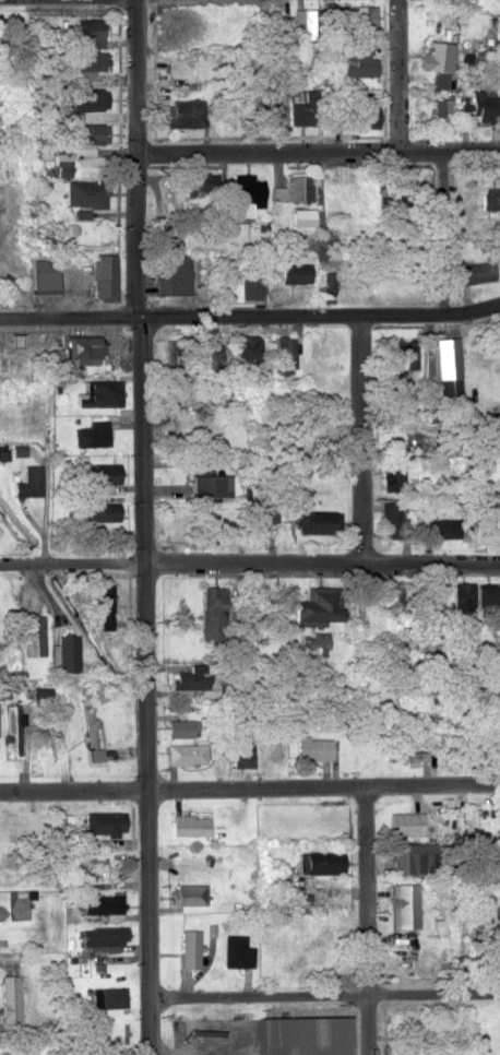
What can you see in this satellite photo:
building: (360, 15)
building: (316, 19)
building: (83, 32)
building: (486, 58)
building: (82, 59)
building: (356, 61)
building: (437, 61)
road: (400, 74)
building: (83, 98)
building: (479, 105)
building: (357, 107)
building: (270, 108)
building: (302, 109)
building: (443, 110)
building: (179, 111)
building: (82, 132)
road: (318, 150)
road: (136, 157)
building: (72, 162)
building: (345, 183)
building: (293, 188)
building: (82, 192)
building: (245, 193)
building: (490, 200)
building: (299, 216)
road: (444, 230)
building: (477, 271)
building: (175, 273)
building: (45, 274)
building: (105, 276)
building: (291, 276)
building: (385, 277)
building: (248, 289)
road: (320, 312)
road: (70, 316)
building: (248, 349)
building: (286, 352)
building: (324, 352)
building: (76, 353)
building: (212, 353)
building: (398, 355)
building: (448, 370)
building: (103, 392)
road: (50, 415)
building: (93, 432)
road: (361, 439)
building: (105, 474)
building: (394, 474)
building: (29, 482)
building: (209, 484)
building: (105, 511)
building: (392, 520)
building: (317, 521)
building: (440, 526)
road: (249, 564)
building: (464, 594)
building: (488, 594)
building: (392, 596)
building: (106, 603)
building: (317, 605)
building: (212, 612)
building: (35, 633)
building: (316, 642)
building: (69, 652)
building: (192, 676)
road: (146, 684)
building: (43, 695)
building: (179, 727)
building: (12, 728)
building: (92, 736)
building: (46, 740)
building: (314, 747)
building: (187, 752)
building: (242, 754)
building: (405, 755)
road: (250, 786)
building: (104, 822)
building: (405, 822)
building: (3, 823)
building: (190, 823)
building: (413, 856)
building: (318, 861)
building: (202, 864)
building: (105, 865)
building: (188, 892)
building: (102, 903)
building: (13, 904)
building: (403, 905)
building: (496, 916)
road: (367, 920)
building: (103, 936)
building: (189, 947)
building: (235, 950)
road: (433, 992)
road: (258, 993)
building: (108, 996)
building: (11, 997)
building: (298, 1035)
building: (21, 1053)

